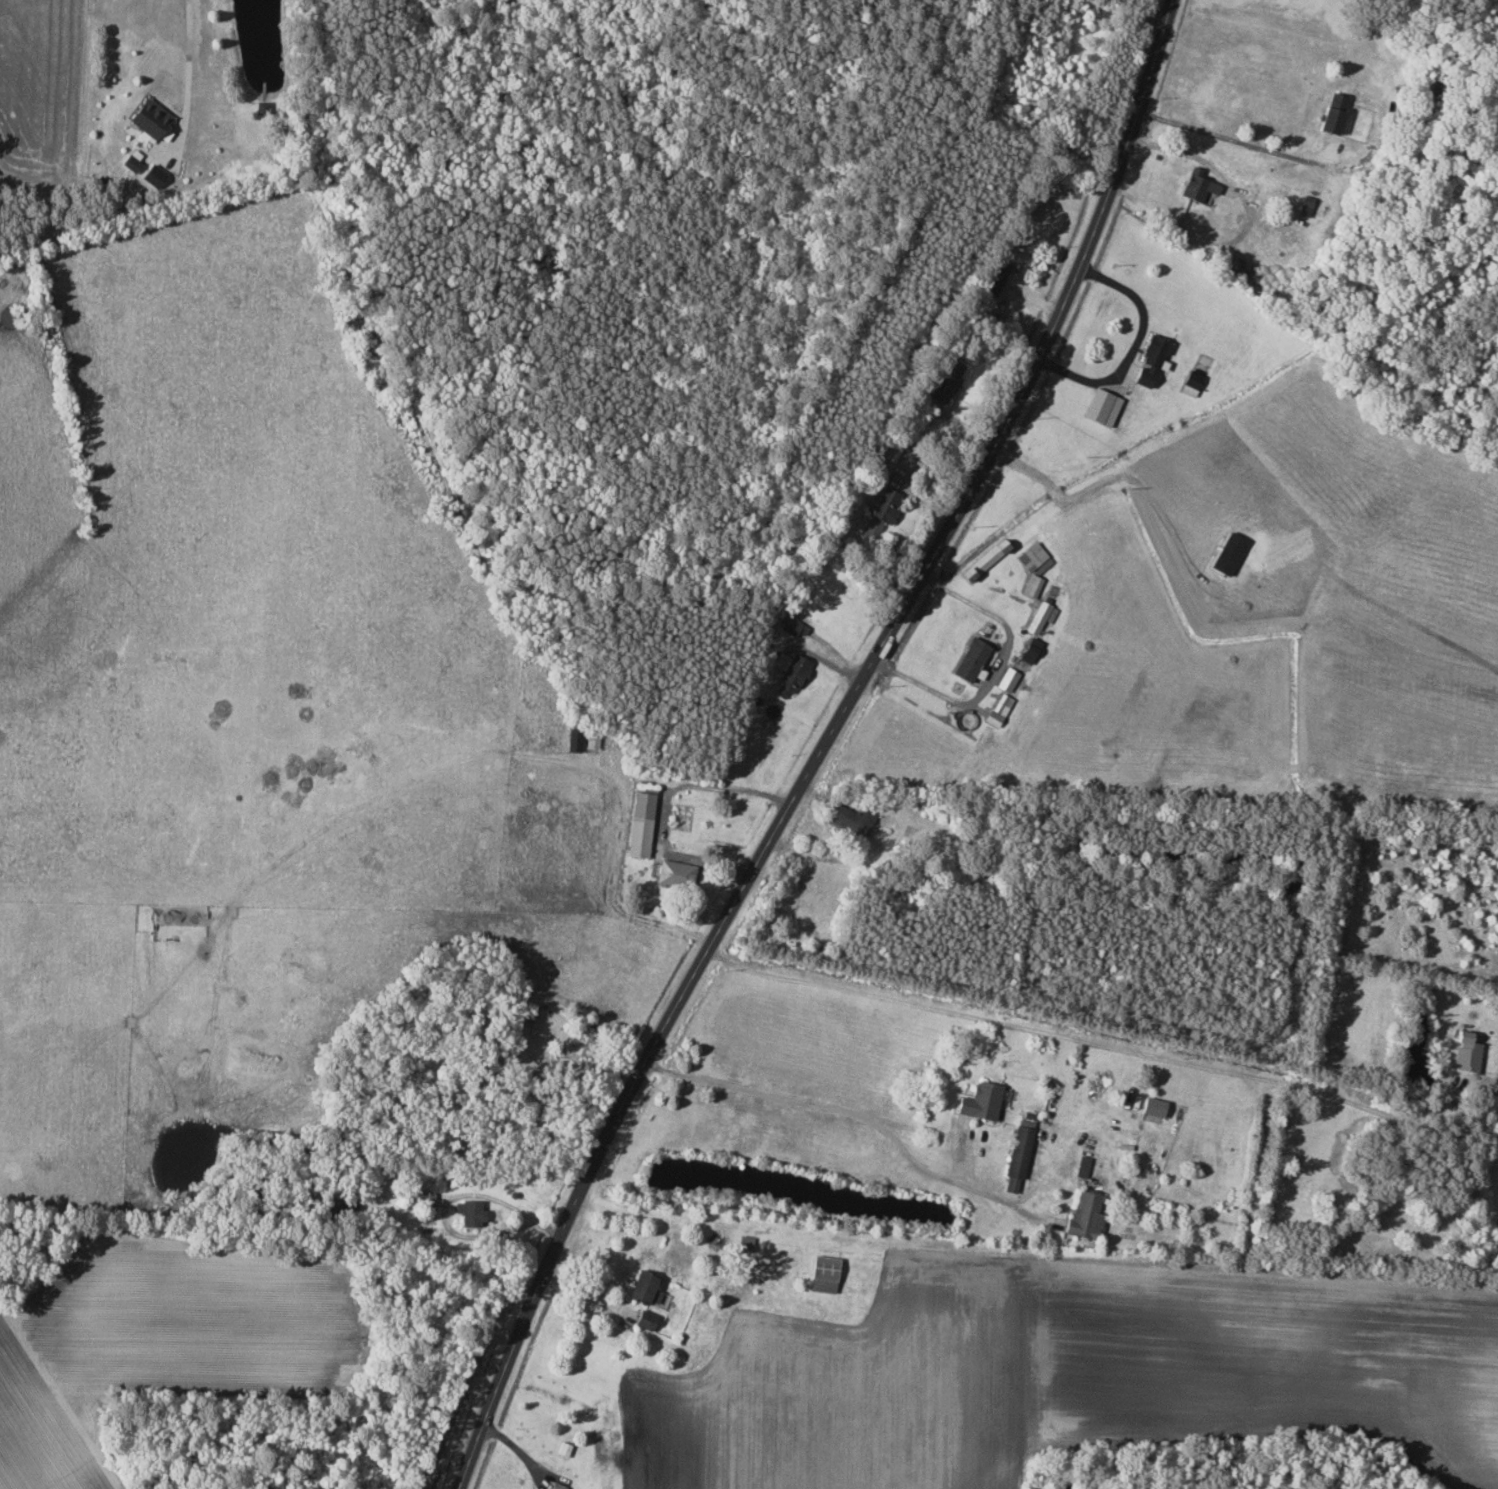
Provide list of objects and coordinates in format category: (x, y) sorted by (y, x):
road: (183, 53)
building: (1330, 112)
building: (148, 120)
road: (1230, 138)
building: (129, 162)
building: (1196, 185)
road: (1133, 345)
building: (1148, 359)
building: (1191, 379)
building: (948, 381)
building: (881, 512)
building: (981, 560)
building: (1032, 566)
building: (1040, 617)
building: (792, 626)
building: (1026, 653)
building: (969, 659)
building: (790, 670)
road: (993, 671)
building: (1006, 679)
building: (996, 711)
building: (572, 741)
road: (821, 744)
road: (665, 803)
building: (851, 820)
building: (639, 824)
building: (673, 874)
road: (1087, 1041)
building: (1464, 1053)
building: (978, 1101)
building: (1152, 1107)
road: (845, 1110)
building: (1018, 1152)
building: (467, 1213)
building: (1083, 1215)
building: (821, 1273)
building: (646, 1290)
building: (644, 1319)

